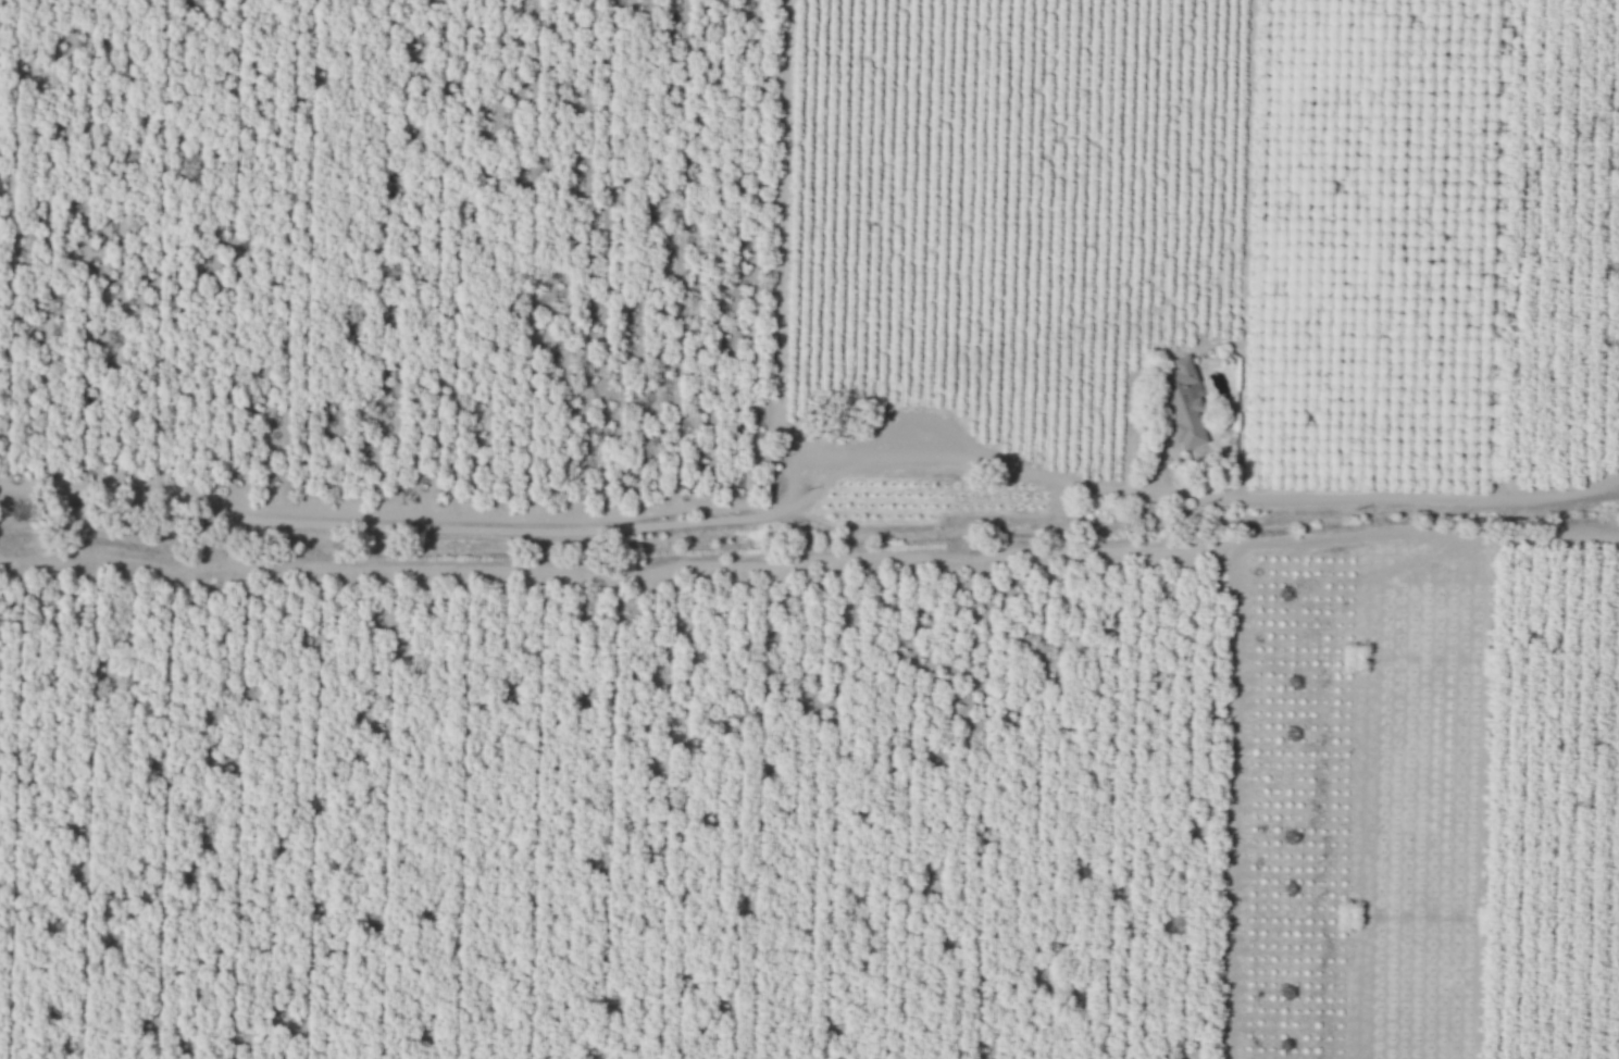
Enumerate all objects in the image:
building: (1183, 406)
road: (1410, 500)

